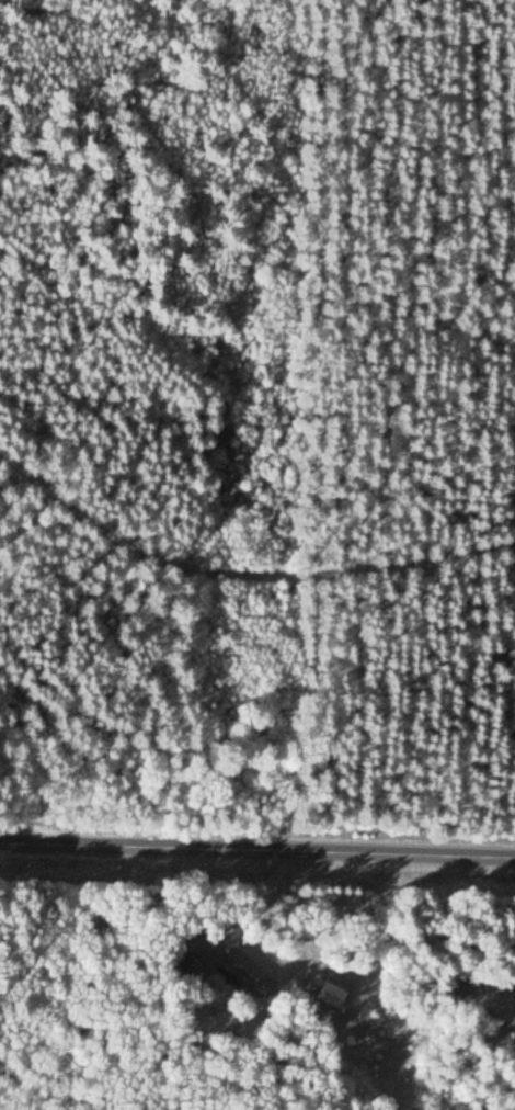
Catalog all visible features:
road: (257, 852)
building: (195, 967)
building: (245, 972)
building: (331, 995)

